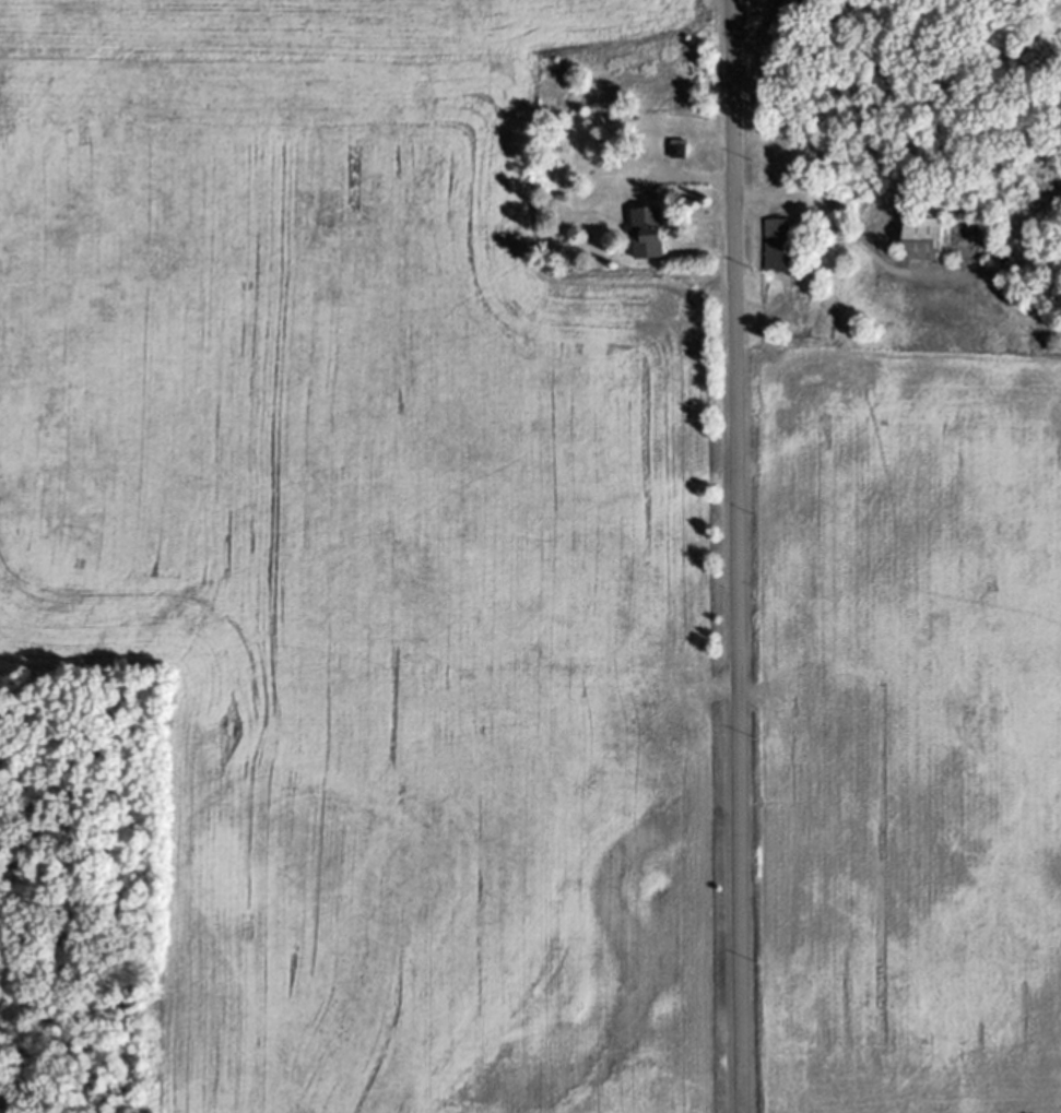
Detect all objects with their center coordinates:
building: (655, 240)
building: (930, 247)
building: (786, 253)
road: (739, 556)

